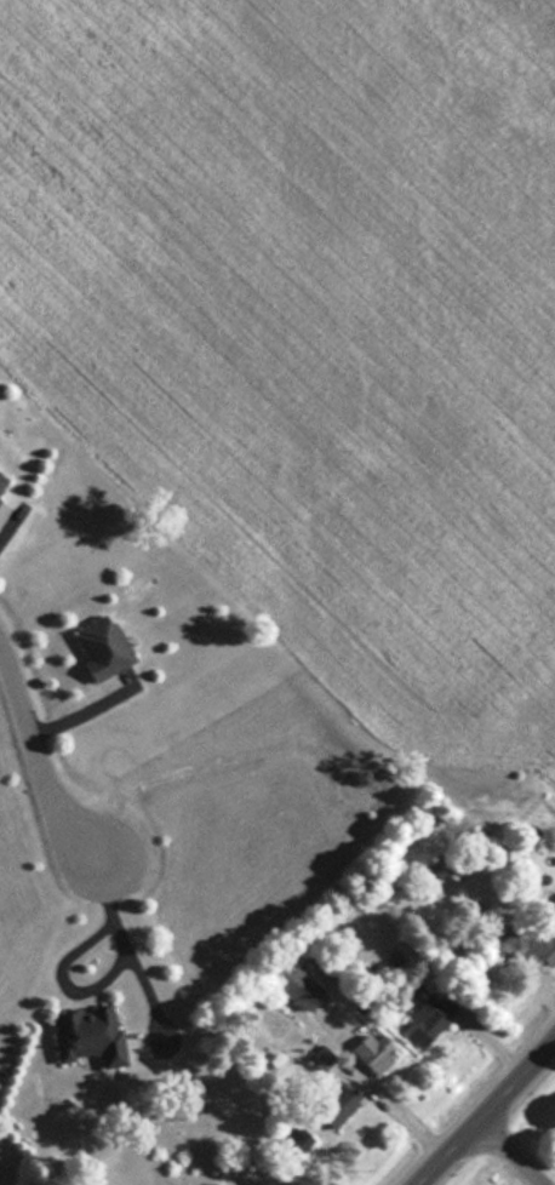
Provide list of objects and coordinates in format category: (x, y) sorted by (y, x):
building: (1, 479)
building: (97, 646)
road: (39, 771)
building: (507, 950)
road: (130, 956)
building: (296, 988)
building: (428, 1017)
building: (81, 1036)
building: (371, 1052)
building: (333, 1105)
road: (487, 1114)
road: (509, 1155)
building: (212, 1183)

